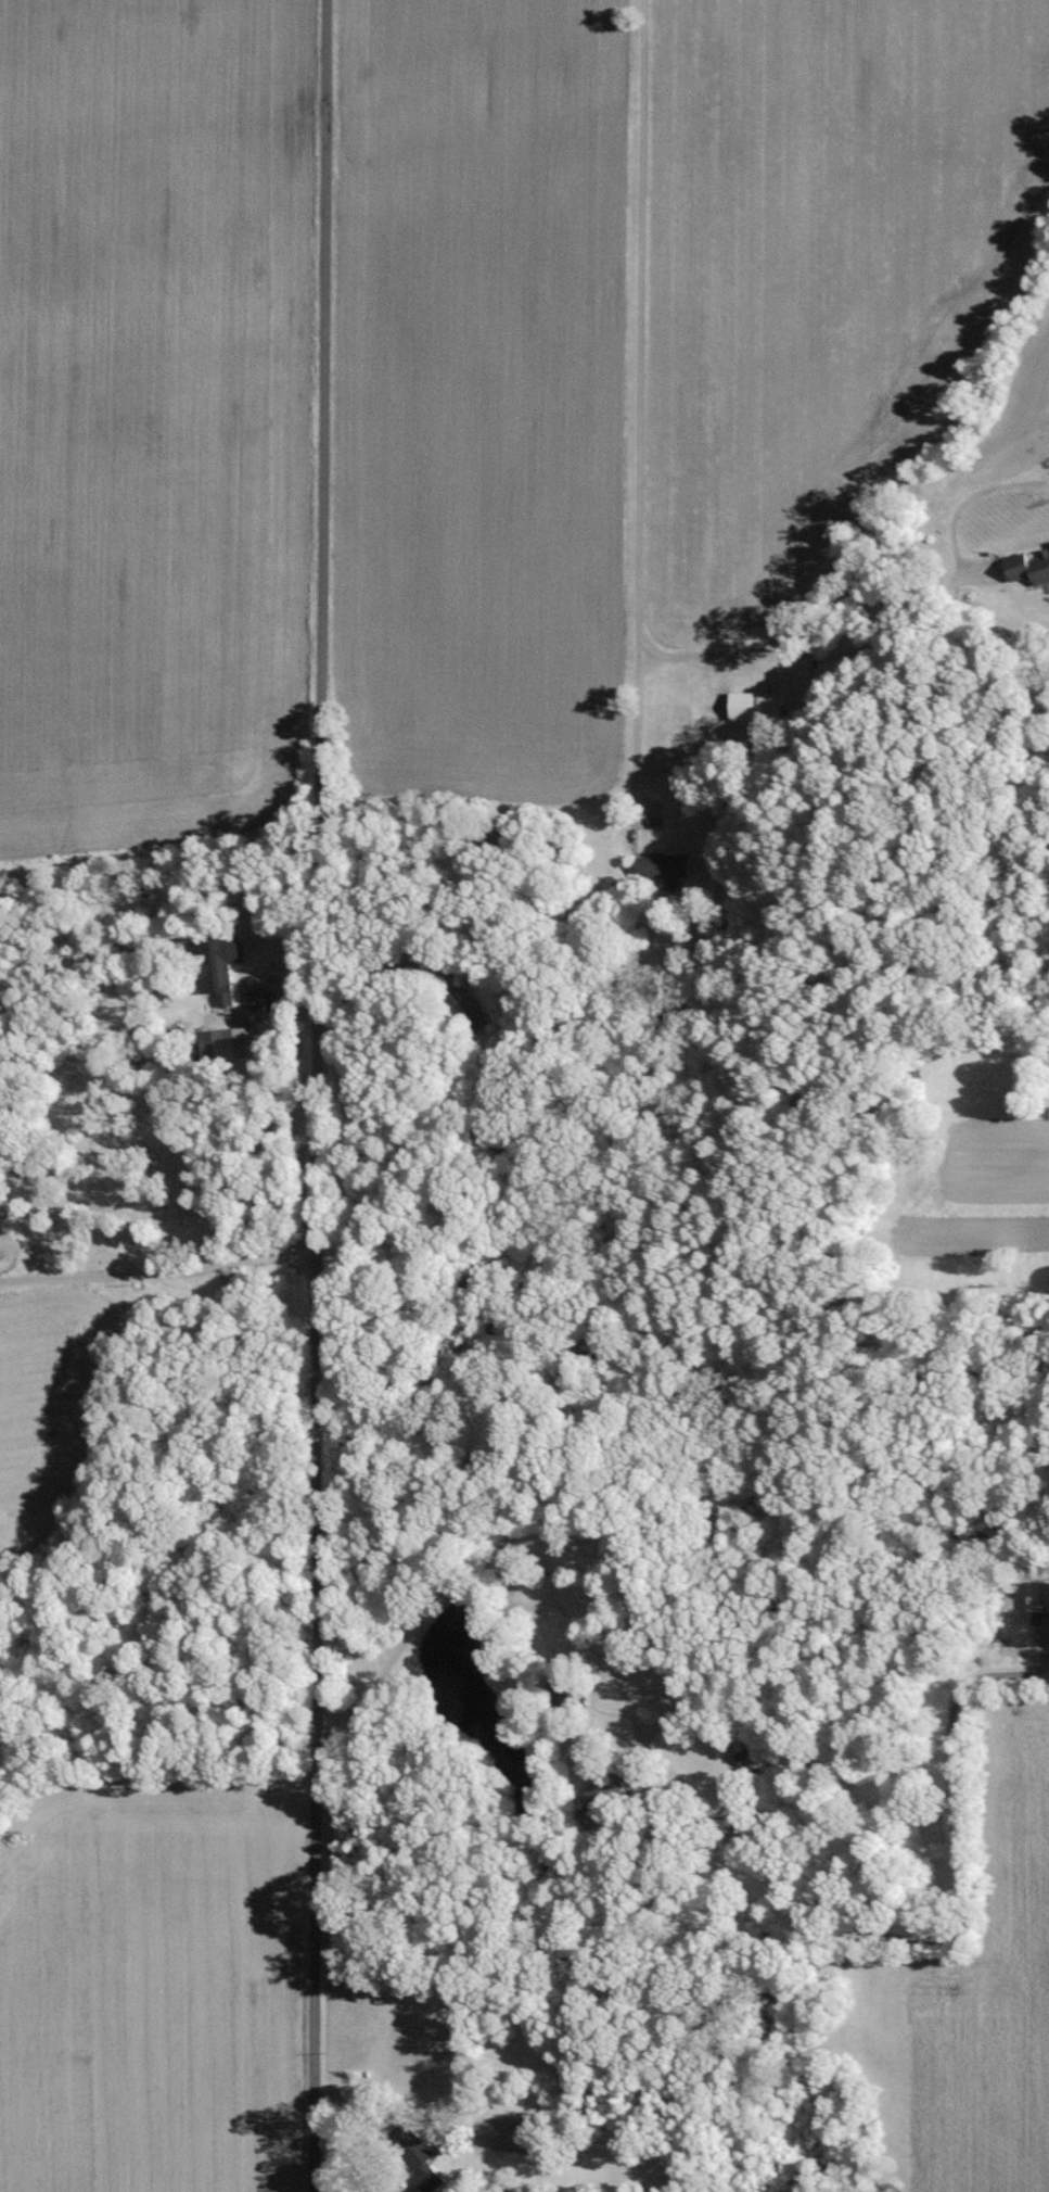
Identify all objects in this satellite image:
road: (639, 422)
building: (1028, 566)
road: (817, 656)
building: (753, 705)
building: (663, 867)
road: (399, 949)
building: (223, 967)
building: (466, 1006)
building: (221, 1043)
road: (332, 1097)
road: (170, 1272)
road: (486, 1555)
building: (1038, 1596)
building: (561, 1690)
building: (745, 1764)
building: (597, 1796)
building: (415, 2158)

